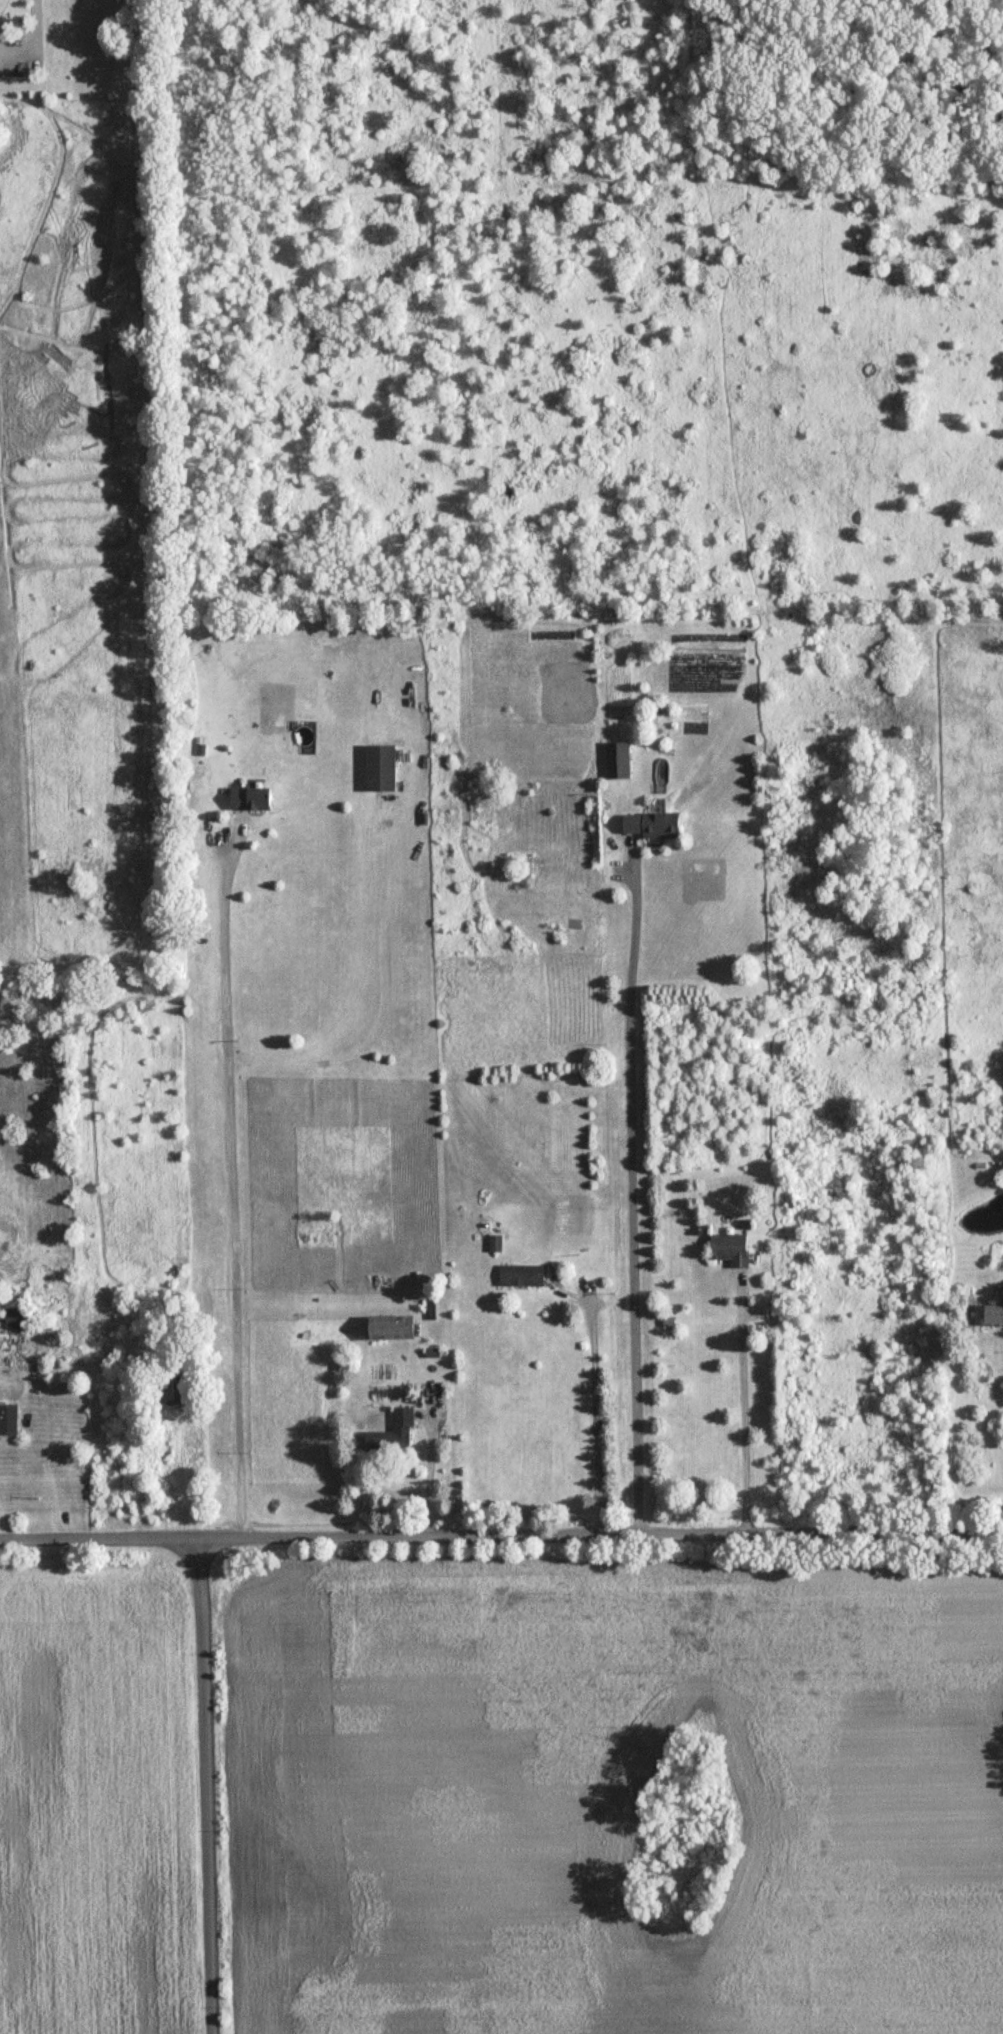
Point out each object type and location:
building: (615, 763)
building: (379, 770)
building: (249, 800)
building: (649, 827)
road: (384, 999)
road: (233, 1188)
road: (632, 1201)
building: (728, 1249)
building: (520, 1277)
building: (991, 1316)
building: (14, 1319)
building: (386, 1329)
building: (173, 1390)
road: (743, 1408)
road: (598, 1417)
building: (7, 1421)
building: (391, 1437)
road: (430, 1478)
road: (42, 1484)
road: (501, 1536)
road: (207, 1786)

